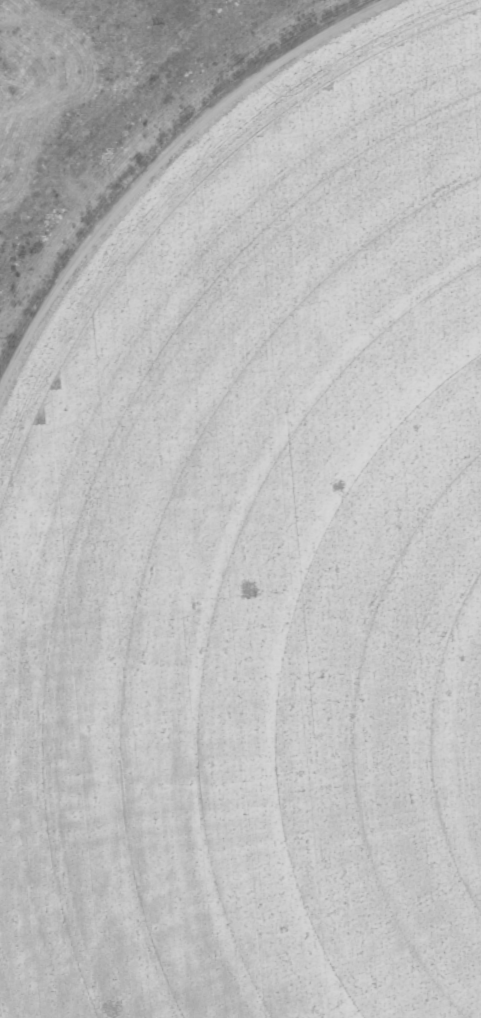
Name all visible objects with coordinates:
crop: (230, 546)

